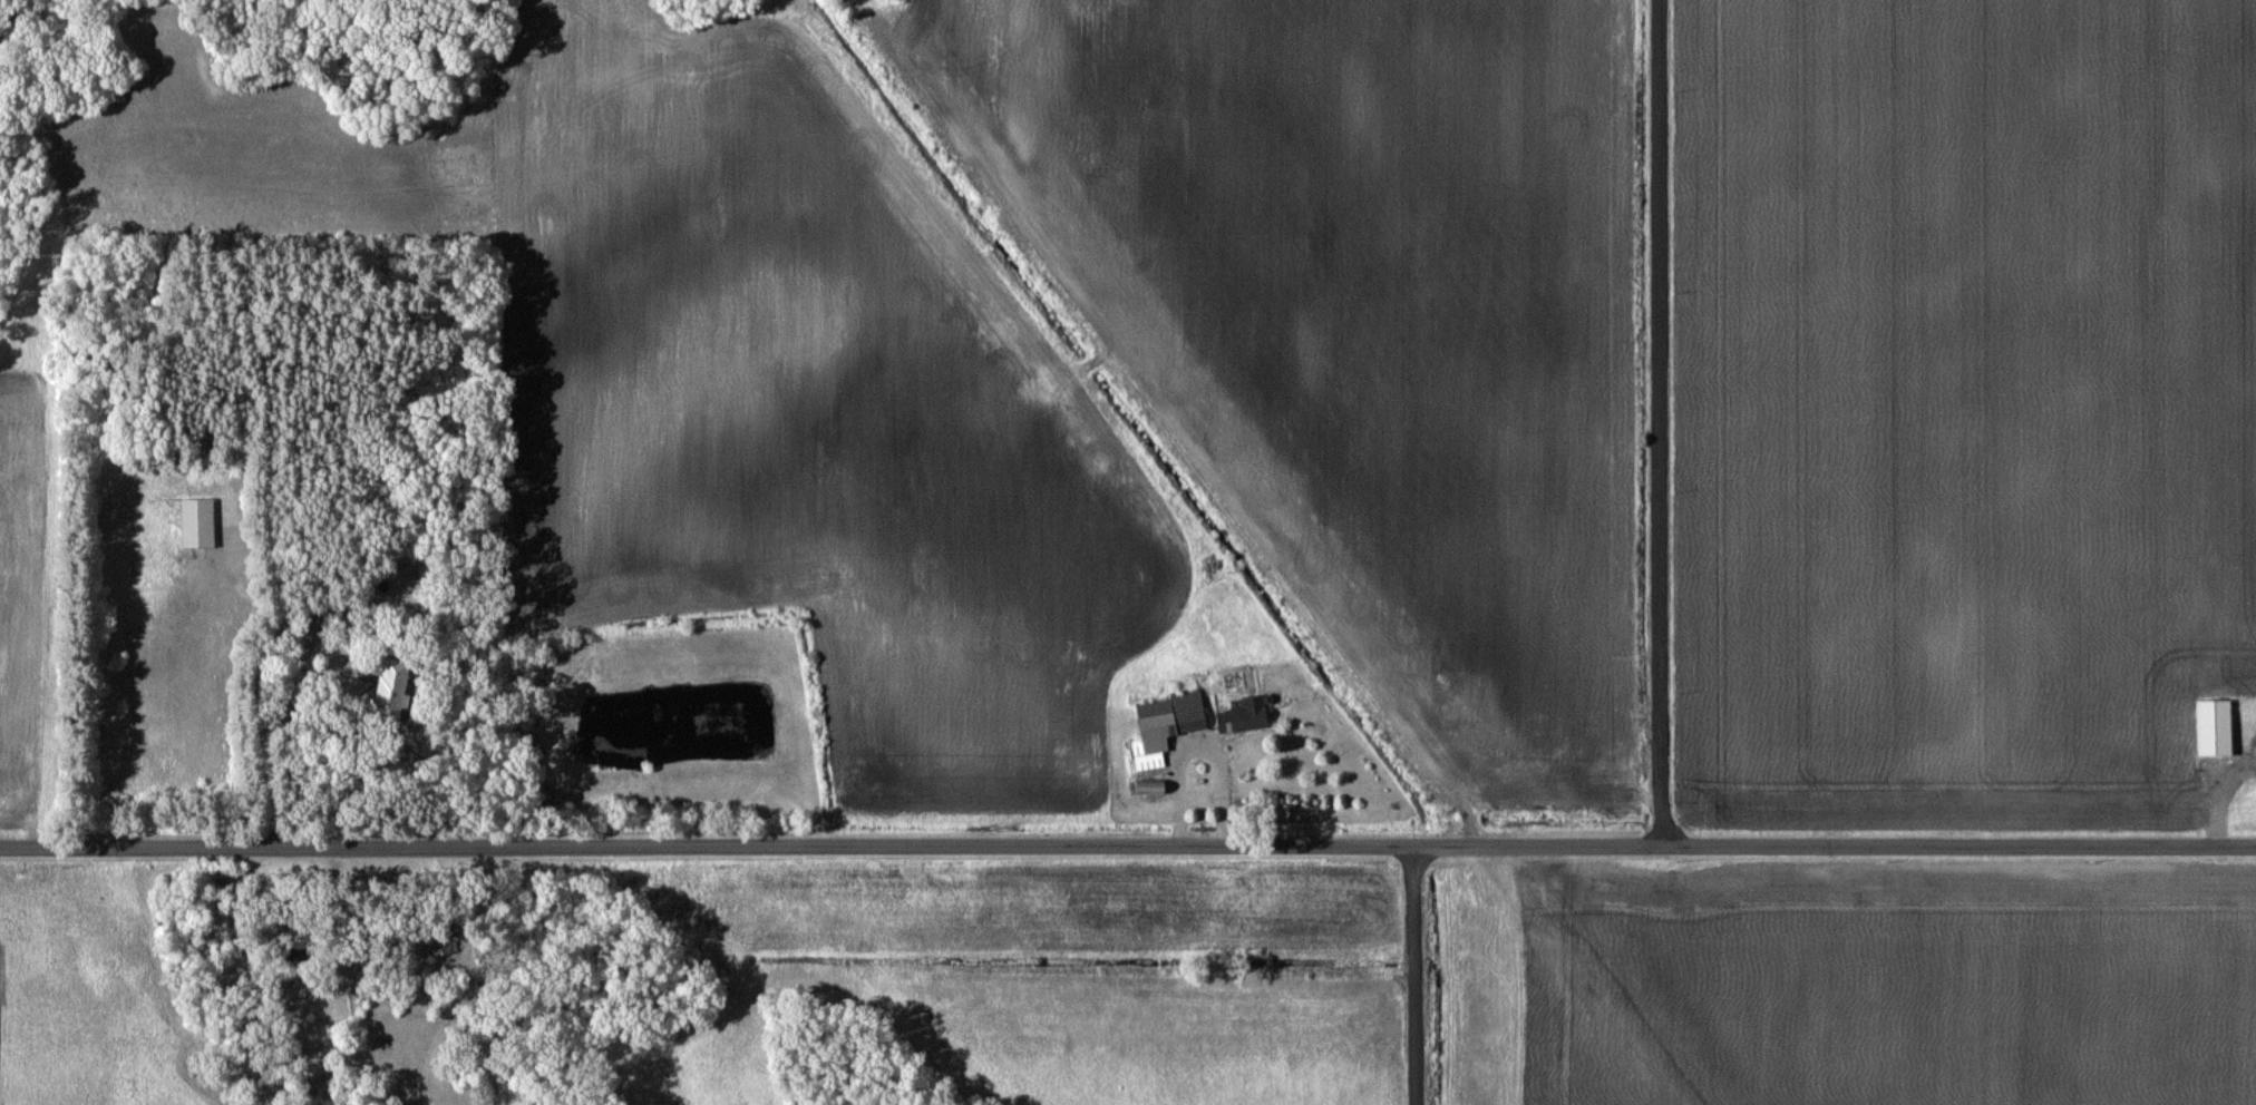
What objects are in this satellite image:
road: (1660, 422)
building: (192, 522)
road: (268, 687)
building: (1237, 715)
road: (293, 716)
building: (1159, 725)
building: (2208, 727)
road: (1958, 844)
road: (704, 845)
road: (1536, 845)
road: (1412, 975)

